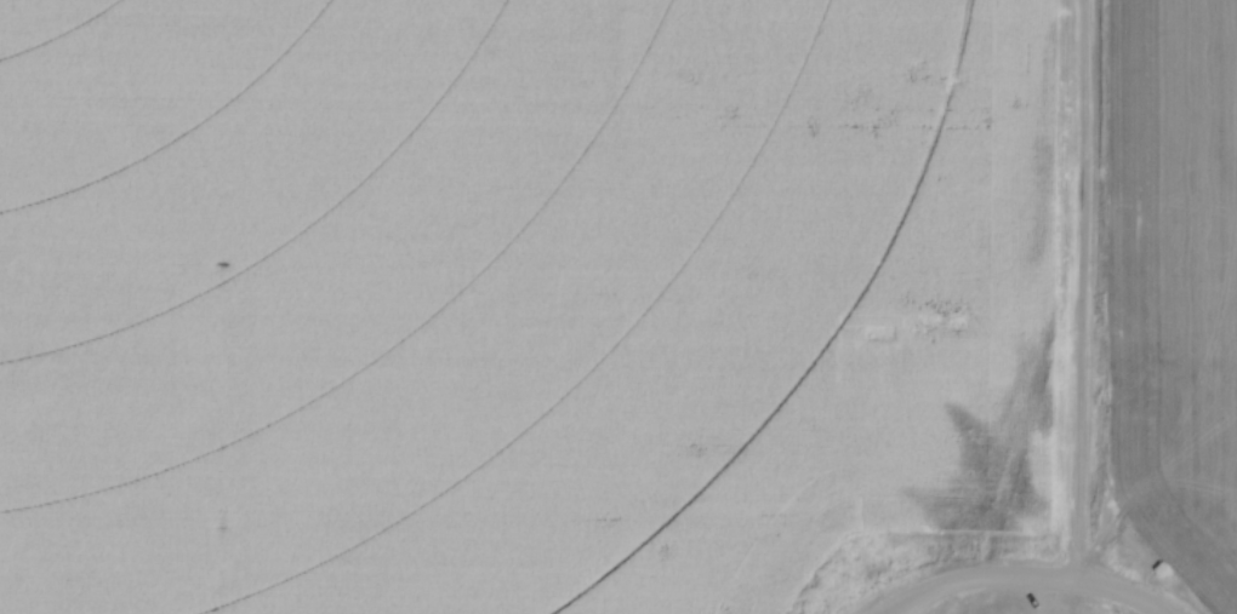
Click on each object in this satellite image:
road: (1022, 584)

